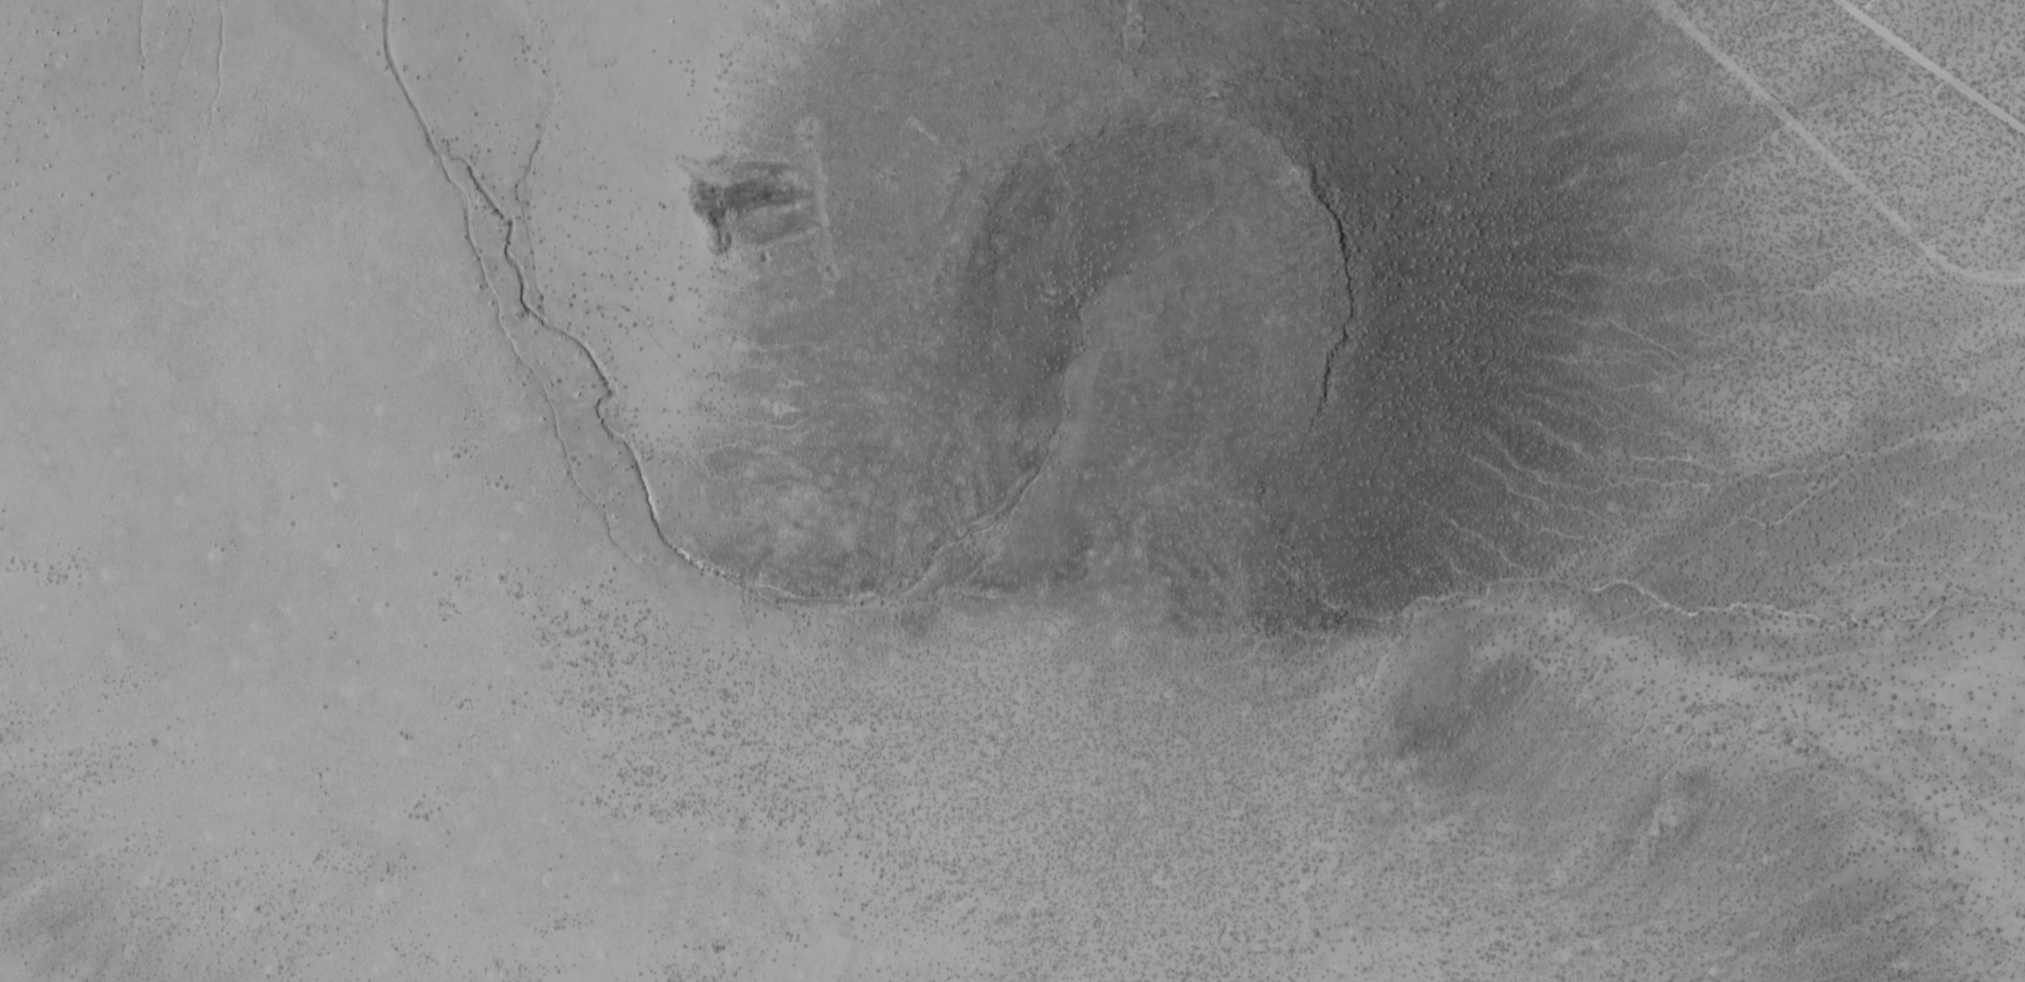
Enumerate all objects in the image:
road: (1913, 93)

